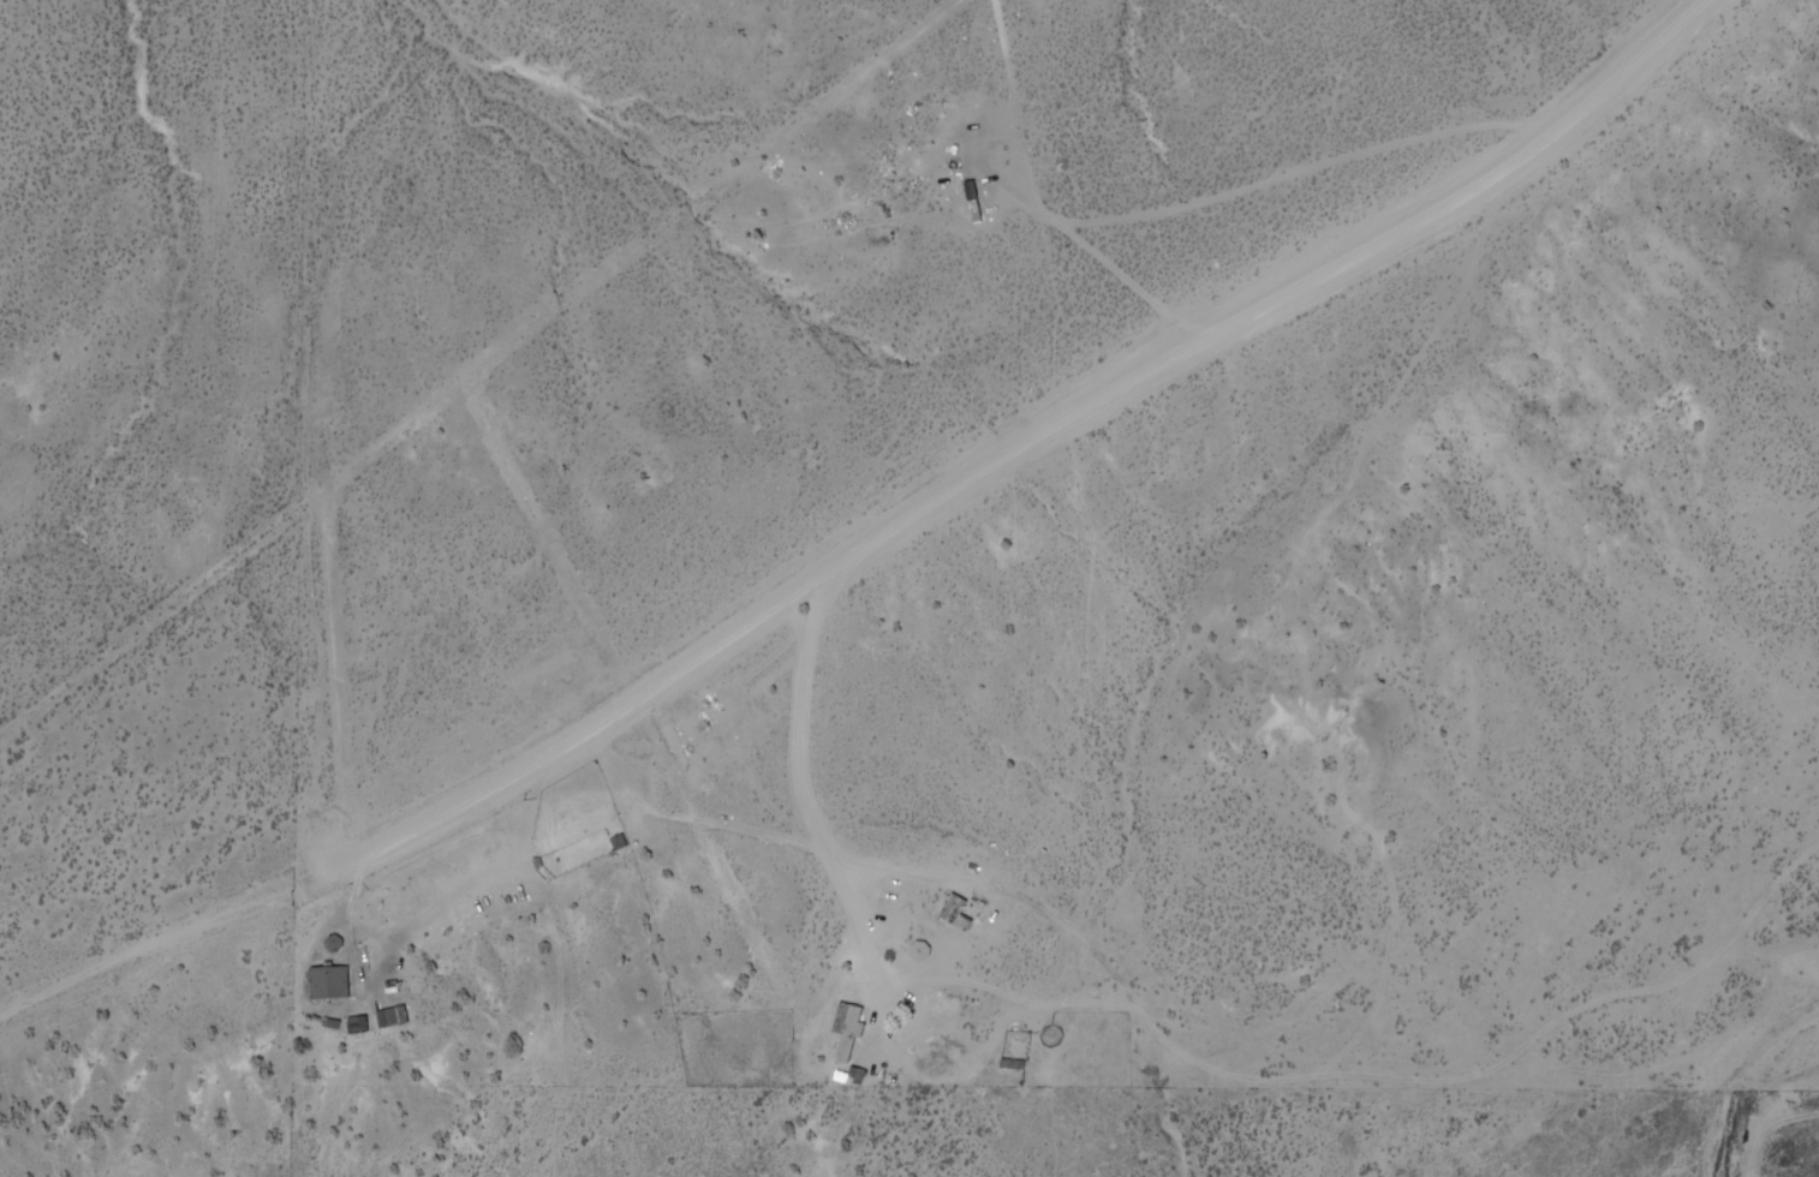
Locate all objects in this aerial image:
road: (872, 540)
building: (952, 907)
building: (329, 980)
building: (389, 1015)

